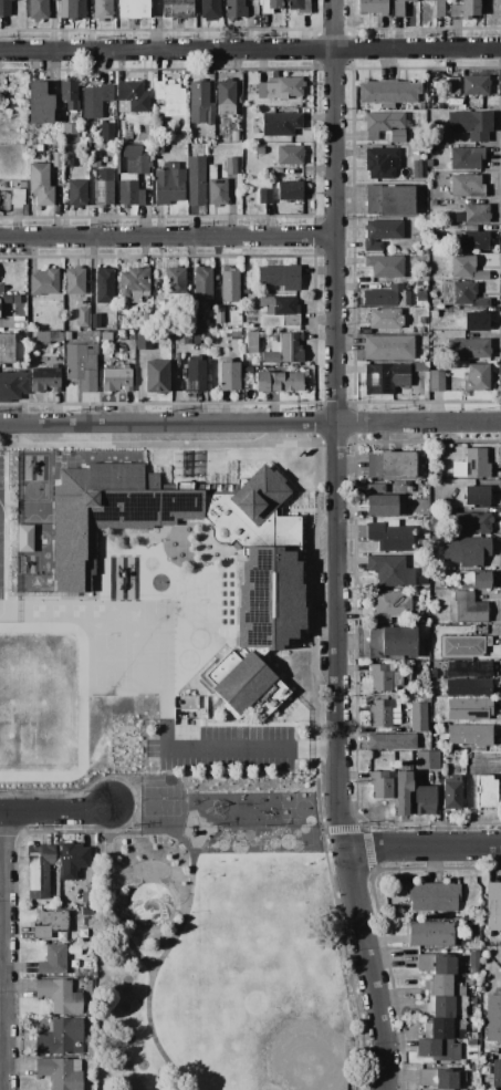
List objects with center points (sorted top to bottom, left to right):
building: (425, 0)
building: (269, 6)
building: (298, 6)
building: (373, 7)
building: (4, 8)
building: (398, 8)
building: (438, 8)
building: (75, 9)
building: (177, 9)
building: (209, 9)
building: (38, 10)
building: (102, 10)
building: (133, 10)
building: (234, 10)
building: (465, 10)
road: (250, 49)
building: (474, 85)
building: (452, 86)
building: (279, 87)
building: (388, 93)
building: (69, 94)
building: (131, 97)
building: (226, 97)
building: (168, 100)
building: (95, 101)
building: (39, 104)
building: (200, 104)
building: (421, 106)
building: (181, 124)
building: (280, 124)
building: (470, 124)
building: (385, 125)
building: (70, 133)
building: (106, 133)
building: (127, 136)
building: (181, 137)
building: (157, 148)
building: (259, 150)
building: (289, 155)
building: (466, 157)
building: (56, 159)
building: (69, 159)
building: (117, 160)
building: (136, 162)
building: (379, 163)
building: (429, 165)
building: (230, 166)
building: (417, 169)
building: (196, 180)
building: (13, 184)
building: (40, 184)
building: (168, 184)
building: (466, 186)
building: (103, 187)
building: (216, 188)
building: (290, 190)
building: (76, 193)
building: (129, 194)
building: (264, 196)
building: (17, 200)
building: (389, 200)
building: (473, 215)
building: (380, 233)
road: (170, 239)
building: (443, 240)
building: (385, 266)
building: (467, 269)
building: (279, 277)
building: (74, 280)
building: (175, 281)
building: (43, 282)
building: (134, 284)
building: (201, 284)
building: (229, 284)
building: (418, 284)
building: (104, 286)
building: (1, 290)
building: (244, 292)
building: (461, 294)
building: (386, 297)
building: (420, 297)
building: (11, 300)
building: (435, 303)
building: (280, 309)
building: (137, 314)
building: (432, 314)
building: (219, 315)
building: (83, 316)
building: (145, 316)
building: (384, 319)
building: (95, 321)
building: (420, 321)
building: (476, 321)
building: (421, 331)
building: (67, 335)
building: (234, 335)
building: (106, 336)
building: (125, 336)
building: (190, 336)
building: (48, 338)
building: (143, 342)
building: (276, 347)
building: (388, 347)
building: (7, 349)
building: (469, 350)
building: (435, 351)
building: (82, 365)
building: (419, 366)
building: (246, 372)
building: (195, 375)
building: (229, 375)
building: (156, 376)
building: (386, 377)
building: (477, 377)
building: (45, 378)
building: (116, 378)
building: (436, 381)
building: (278, 382)
building: (12, 386)
road: (341, 424)
road: (250, 425)
building: (390, 465)
building: (471, 465)
building: (375, 488)
building: (477, 496)
building: (380, 506)
building: (471, 522)
building: (388, 536)
building: (24, 538)
building: (421, 542)
building: (466, 551)
building: (271, 559)
building: (390, 571)
building: (474, 581)
building: (422, 582)
building: (388, 606)
building: (467, 608)
building: (418, 619)
building: (392, 643)
building: (463, 646)
building: (469, 669)
building: (382, 677)
building: (247, 684)
building: (468, 687)
building: (189, 708)
building: (468, 709)
building: (380, 713)
building: (418, 716)
building: (401, 725)
building: (469, 735)
building: (392, 741)
road: (247, 748)
building: (427, 761)
building: (380, 786)
building: (486, 791)
building: (401, 792)
building: (451, 792)
building: (425, 800)
road: (56, 812)
road: (113, 828)
road: (145, 832)
road: (424, 847)
building: (73, 860)
building: (38, 870)
building: (434, 896)
building: (87, 899)
building: (492, 906)
building: (49, 923)
building: (431, 934)
park: (229, 944)
road: (3, 952)
building: (52, 961)
building: (473, 962)
building: (436, 964)
road: (368, 968)
building: (443, 986)
building: (60, 996)
building: (472, 1001)
building: (447, 1006)
building: (493, 1018)
building: (448, 1029)
road: (153, 1031)
building: (60, 1038)
building: (469, 1042)
building: (438, 1049)
building: (487, 1059)
building: (472, 1069)
building: (60, 1072)
building: (495, 1076)
building: (440, 1079)

